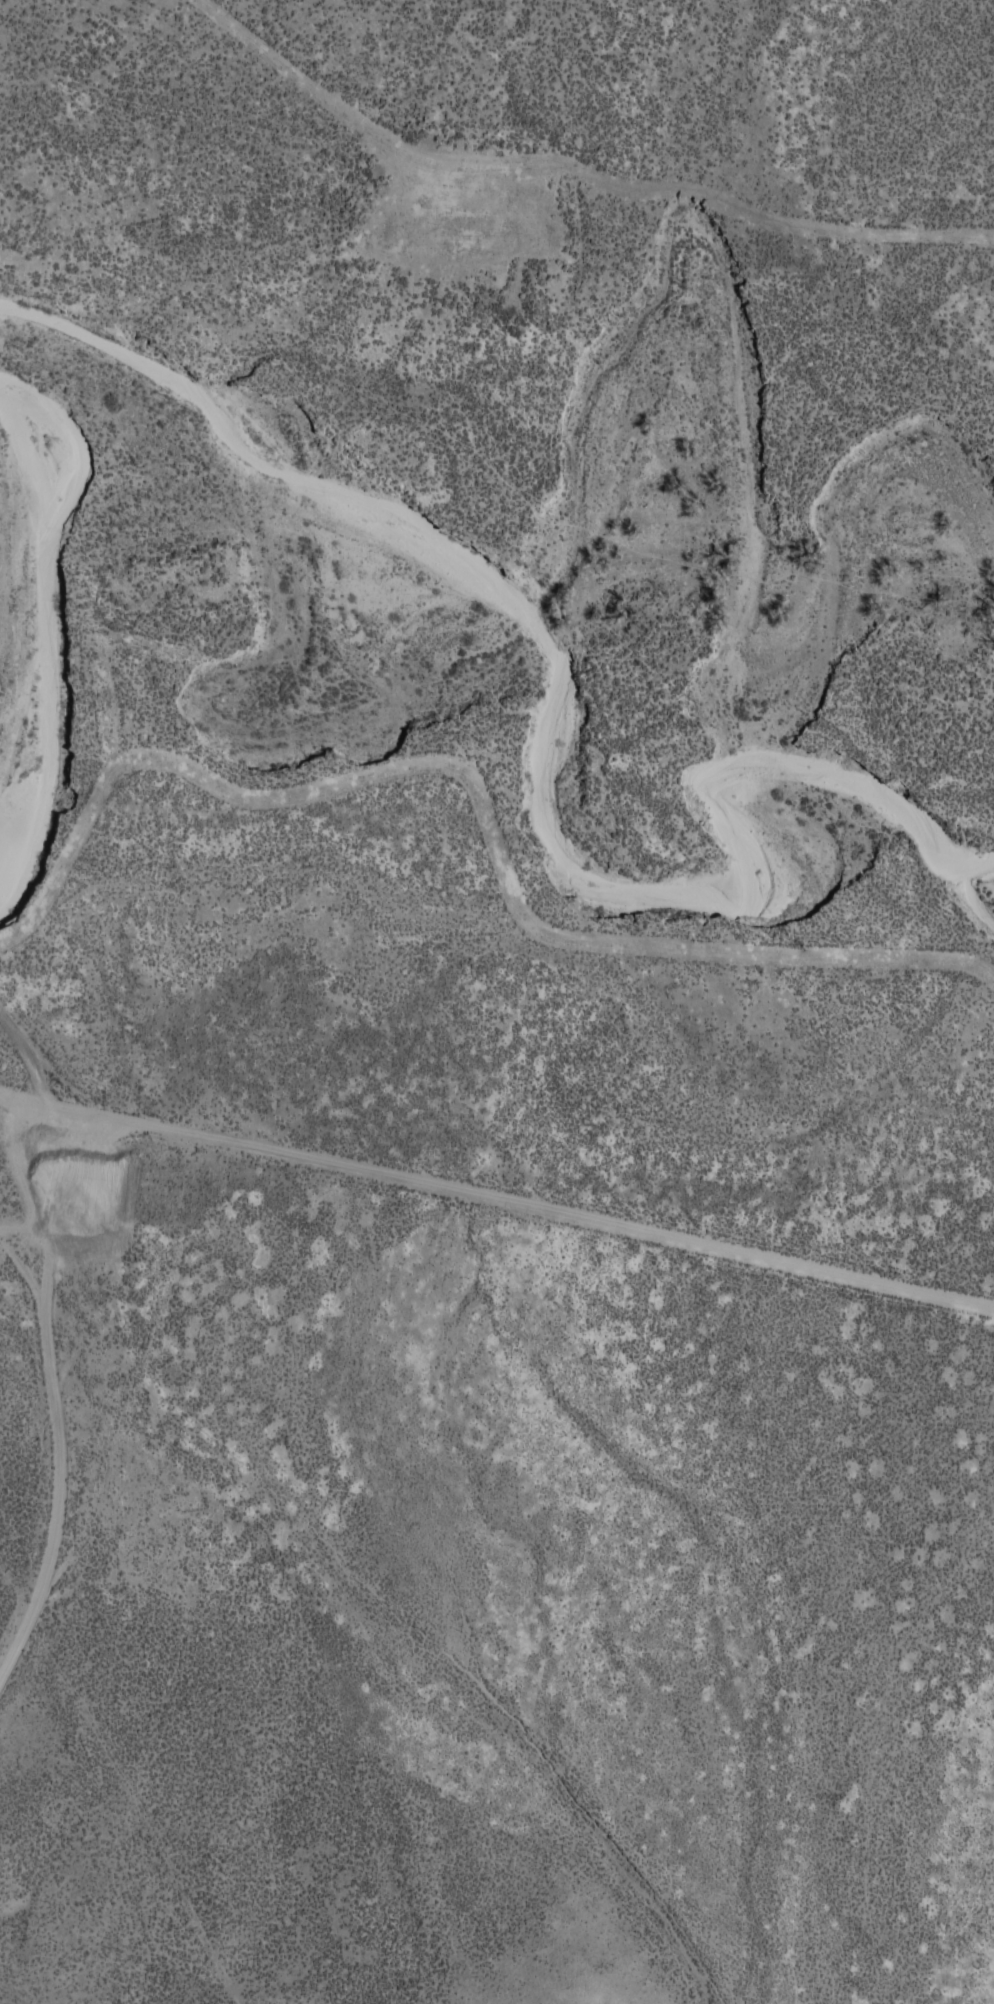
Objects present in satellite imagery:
river: (44, 632)
river: (562, 719)
river: (976, 891)
road: (497, 1199)
road: (81, 1493)

